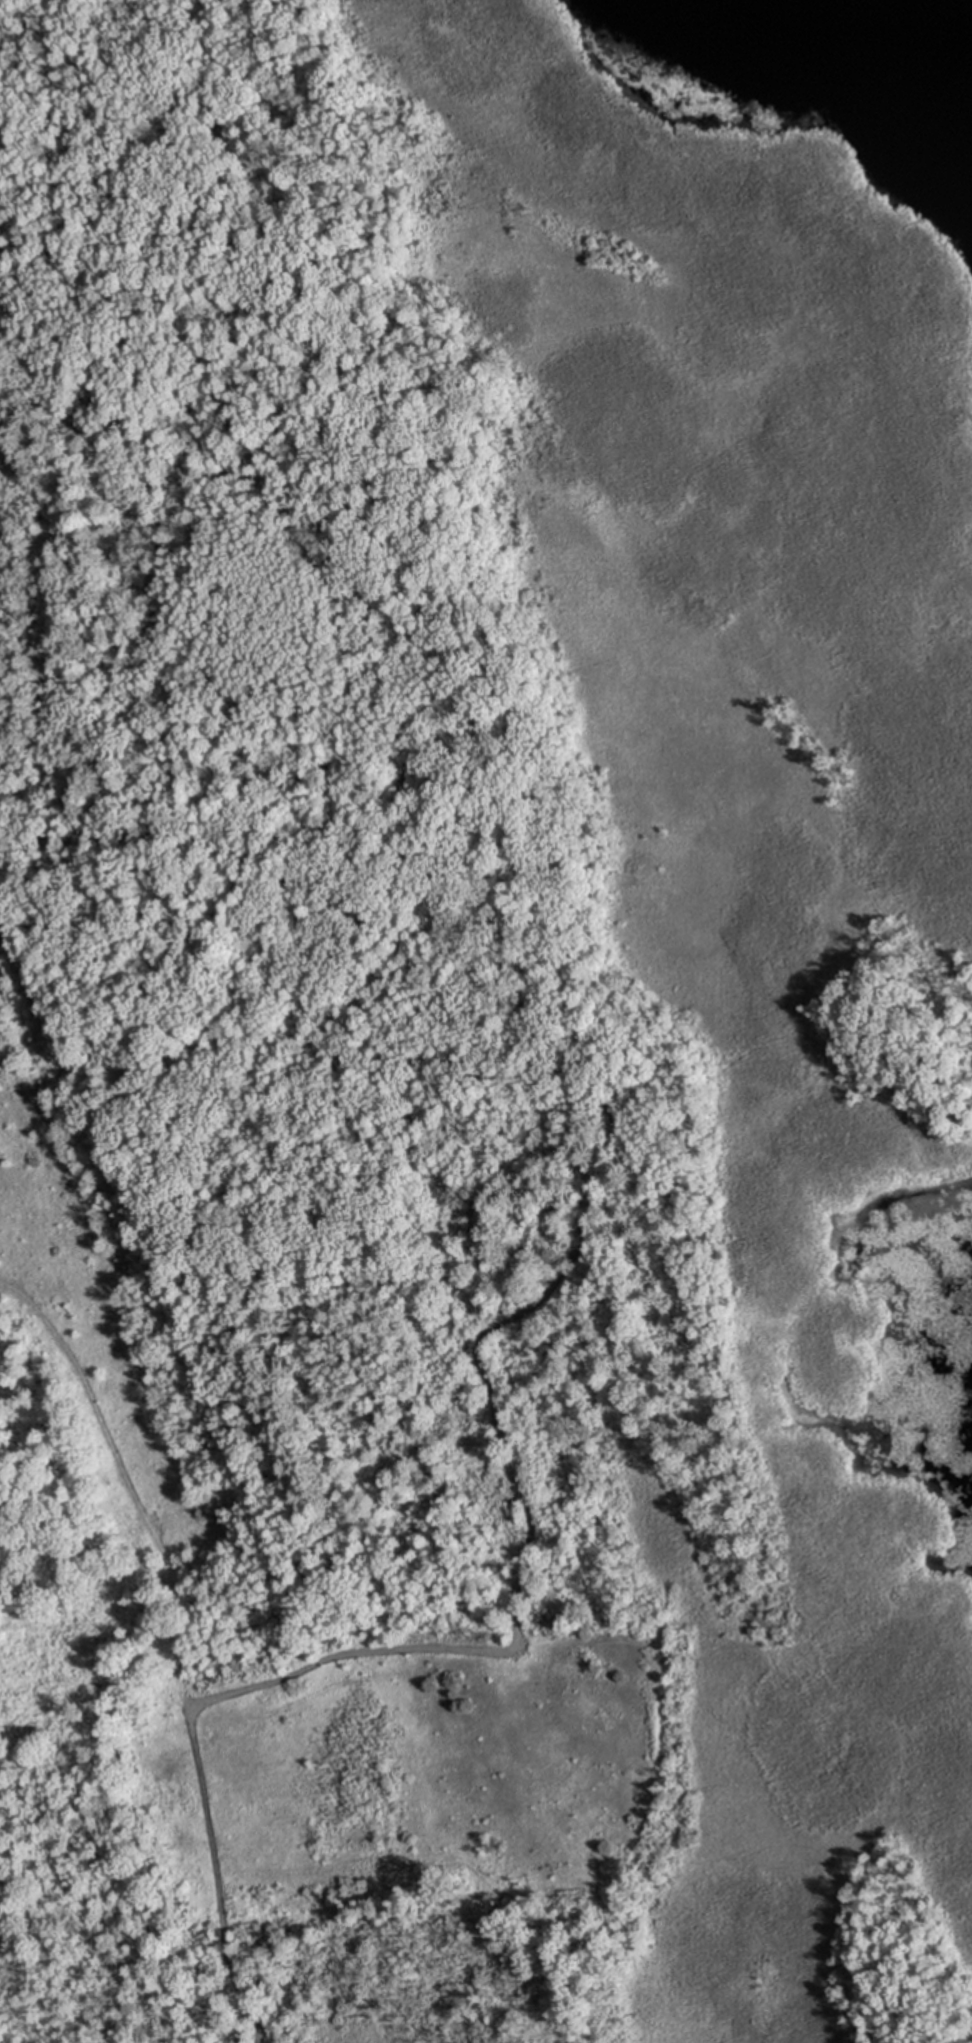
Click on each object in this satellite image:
river: (897, 62)

